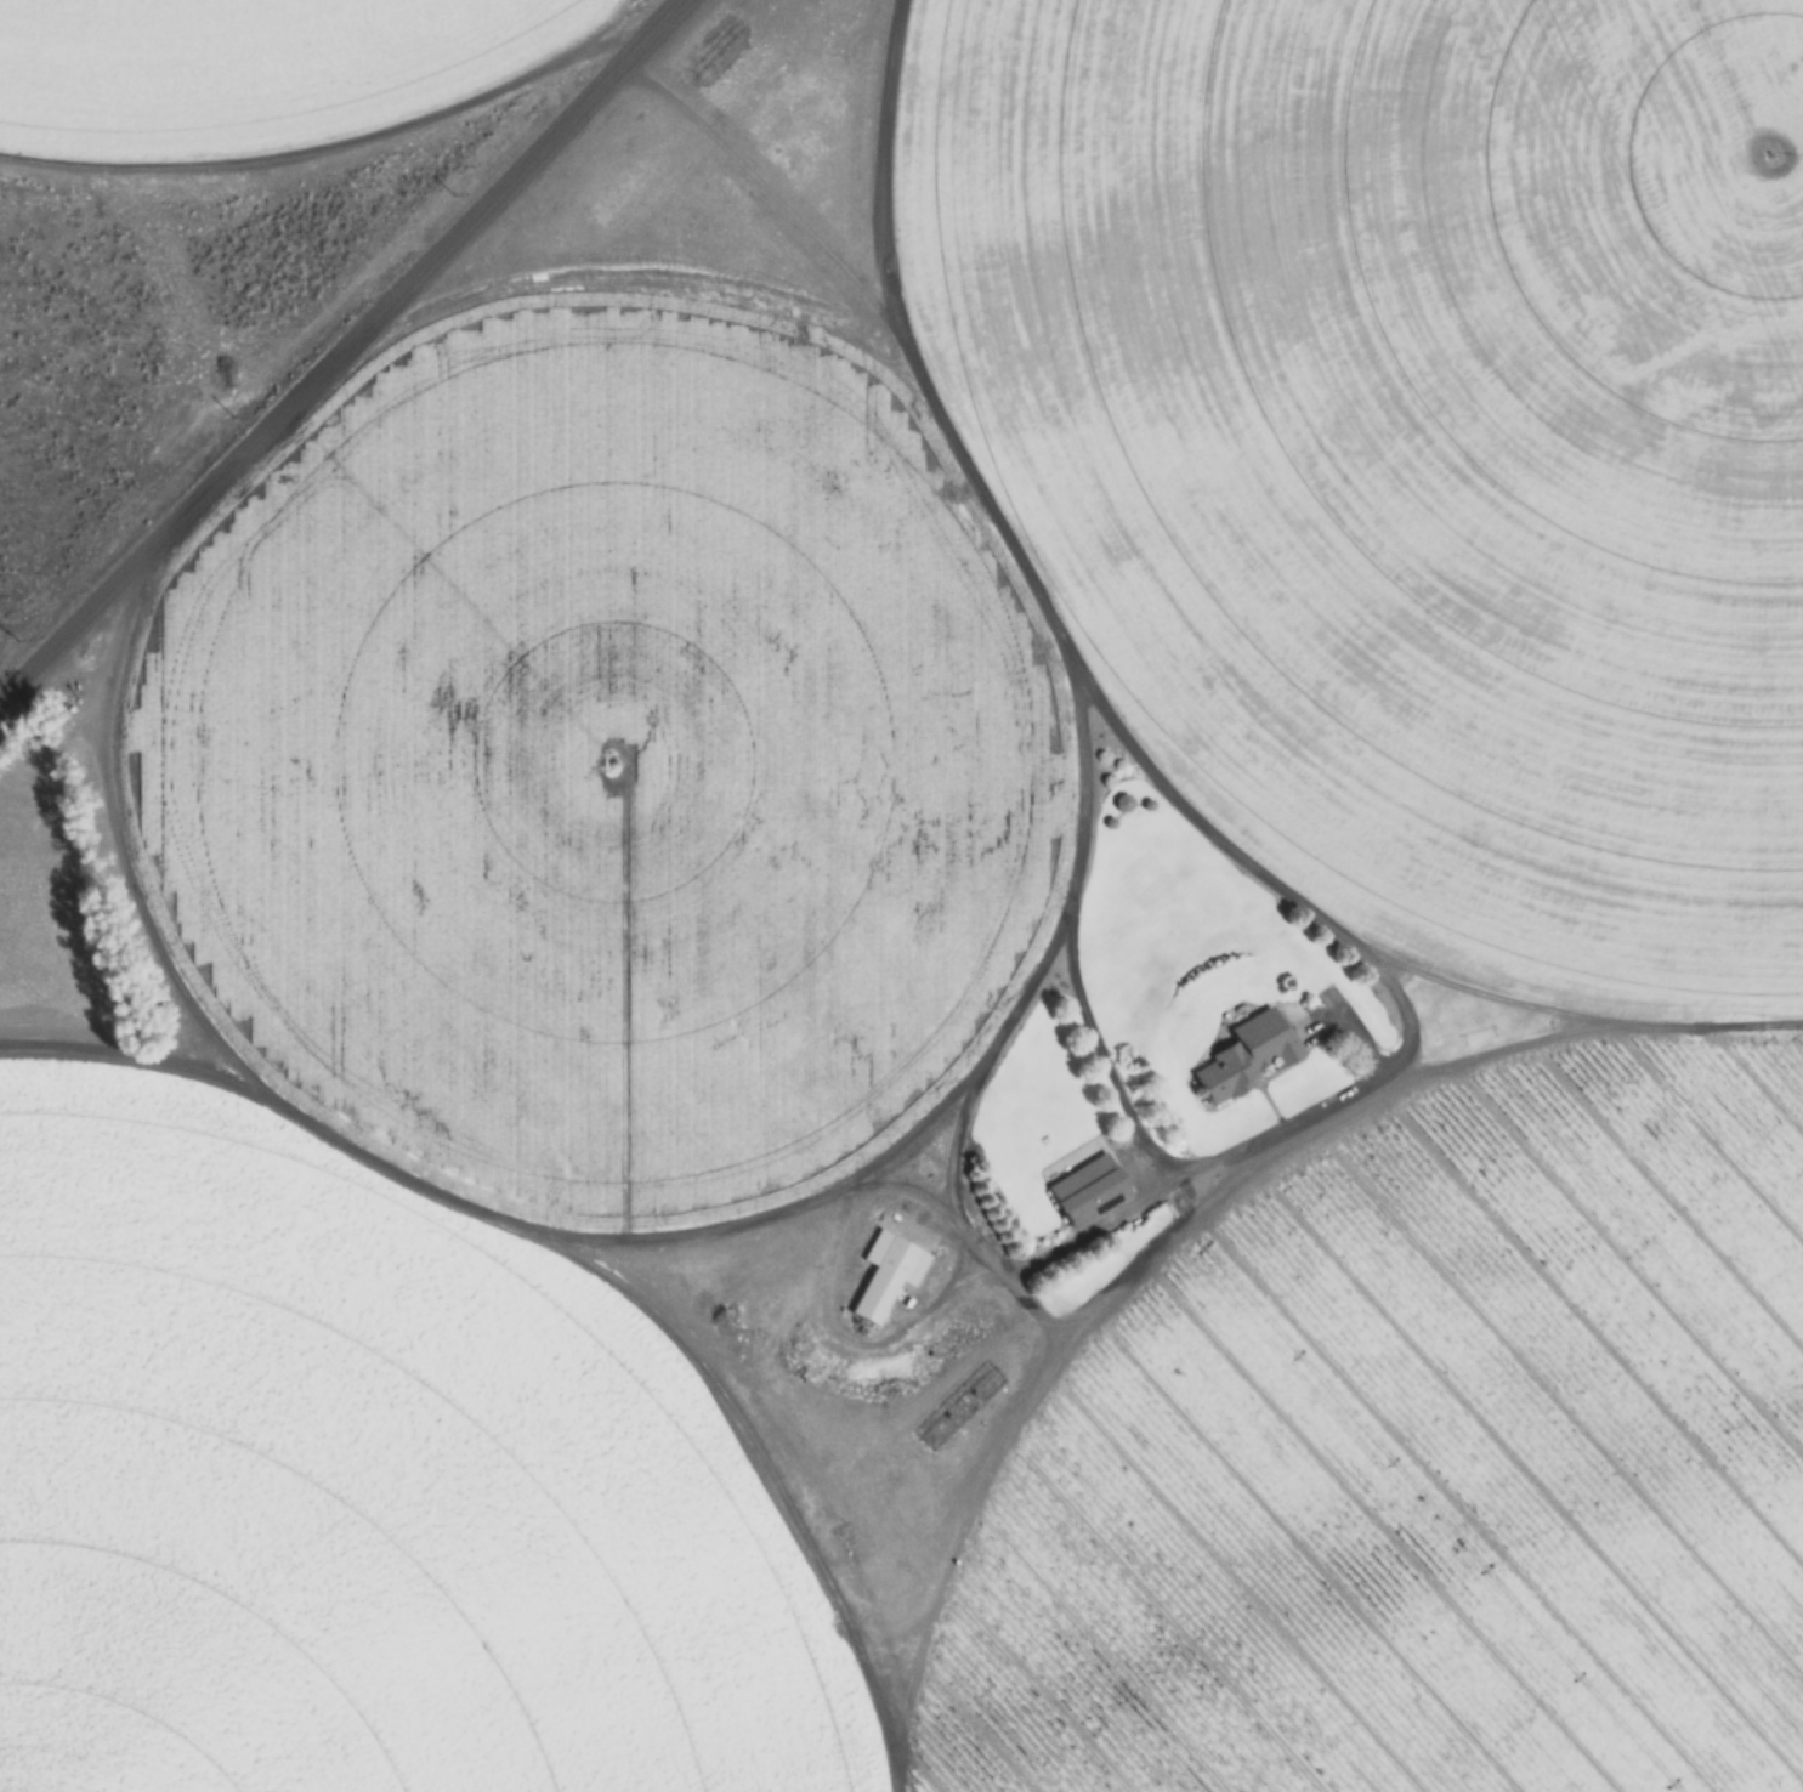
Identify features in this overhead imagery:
road: (341, 350)
building: (1243, 1056)
building: (1087, 1193)
building: (886, 1277)

